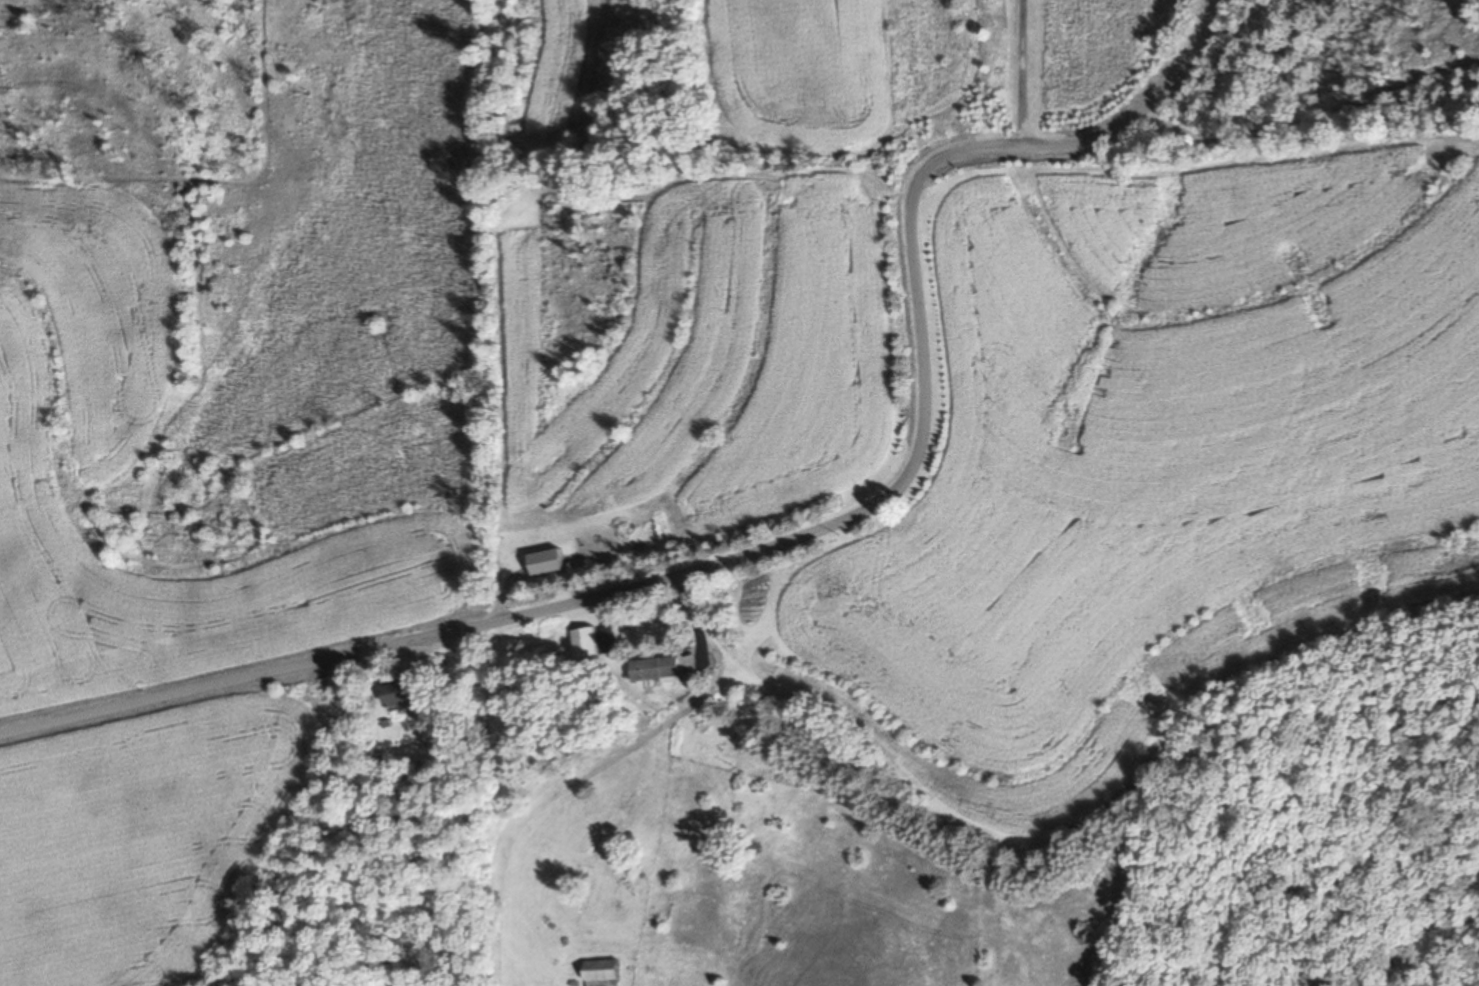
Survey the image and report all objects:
road: (1026, 73)
road: (1313, 120)
road: (792, 540)
building: (541, 561)
building: (582, 641)
building: (653, 670)
building: (394, 692)
road: (565, 762)
building: (598, 972)

